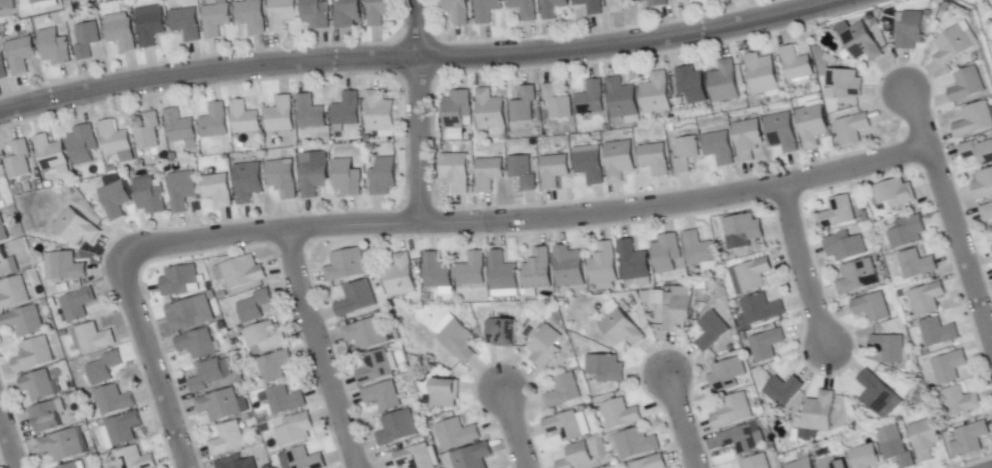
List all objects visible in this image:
building: (63, 0)
building: (69, 0)
building: (682, 1)
building: (40, 2)
building: (7, 3)
building: (657, 3)
building: (617, 5)
building: (591, 6)
building: (525, 9)
building: (553, 9)
building: (457, 10)
building: (487, 10)
building: (380, 12)
building: (282, 13)
building: (316, 14)
building: (348, 14)
building: (250, 15)
building: (215, 19)
building: (186, 23)
building: (150, 24)
building: (911, 30)
building: (120, 31)
building: (86, 40)
building: (861, 42)
building: (953, 46)
building: (54, 48)
building: (20, 54)
road: (420, 57)
building: (796, 65)
building: (3, 67)
building: (762, 74)
building: (724, 83)
building: (691, 84)
building: (844, 84)
building: (967, 85)
building: (656, 94)
building: (591, 99)
building: (621, 99)
building: (557, 102)
building: (524, 105)
building: (457, 109)
building: (347, 110)
building: (490, 110)
road: (419, 111)
building: (310, 113)
building: (380, 113)
building: (280, 116)
building: (244, 119)
building: (975, 120)
building: (215, 122)
building: (812, 125)
building: (181, 129)
building: (852, 129)
building: (782, 131)
building: (148, 132)
building: (452, 133)
building: (747, 139)
building: (115, 141)
building: (83, 144)
building: (719, 147)
building: (977, 151)
building: (685, 153)
building: (50, 154)
building: (655, 158)
building: (619, 160)
building: (18, 161)
building: (590, 167)
building: (555, 170)
building: (456, 172)
building: (523, 172)
building: (314, 173)
building: (488, 174)
building: (383, 176)
building: (282, 178)
building: (347, 178)
building: (248, 182)
building: (983, 185)
building: (218, 189)
building: (182, 191)
building: (895, 193)
building: (149, 196)
building: (115, 199)
building: (987, 212)
building: (838, 213)
road: (950, 219)
road: (524, 220)
building: (76, 228)
building: (744, 228)
building: (3, 231)
building: (907, 232)
building: (844, 246)
building: (698, 249)
building: (991, 250)
building: (665, 253)
building: (634, 262)
building: (5, 264)
road: (801, 264)
building: (346, 265)
building: (917, 265)
building: (604, 266)
building: (64, 267)
building: (569, 267)
building: (472, 270)
building: (538, 270)
building: (437, 272)
building: (243, 273)
building: (753, 274)
building: (502, 276)
building: (400, 277)
building: (859, 277)
building: (179, 281)
building: (13, 293)
building: (356, 299)
building: (927, 299)
building: (78, 304)
building: (254, 306)
building: (873, 308)
building: (761, 309)
building: (186, 314)
building: (678, 314)
building: (22, 322)
building: (621, 329)
building: (501, 333)
building: (711, 333)
building: (938, 333)
building: (366, 334)
building: (264, 336)
building: (94, 339)
building: (458, 341)
building: (766, 344)
building: (197, 345)
building: (545, 348)
building: (889, 348)
road: (318, 349)
building: (33, 356)
road: (152, 361)
building: (222, 366)
building: (273, 366)
building: (949, 367)
building: (104, 368)
building: (375, 368)
building: (604, 369)
building: (726, 375)
building: (206, 376)
building: (38, 386)
building: (783, 391)
building: (563, 392)
building: (875, 392)
building: (445, 394)
building: (382, 397)
building: (284, 400)
building: (113, 401)
building: (960, 402)
building: (220, 405)
building: (733, 411)
building: (820, 412)
building: (619, 414)
building: (45, 418)
road: (682, 421)
building: (564, 427)
building: (122, 428)
building: (397, 429)
road: (514, 429)
building: (295, 430)
building: (457, 434)
building: (972, 438)
building: (227, 440)
building: (739, 440)
building: (925, 440)
road: (8, 441)
building: (636, 444)
building: (64, 445)
building: (897, 452)
building: (472, 456)
building: (577, 457)
building: (864, 457)
building: (414, 458)
building: (134, 459)
building: (304, 459)
building: (651, 462)
building: (756, 462)
building: (235, 463)
building: (801, 464)
building: (832, 464)
building: (71, 466)
building: (625, 467)

